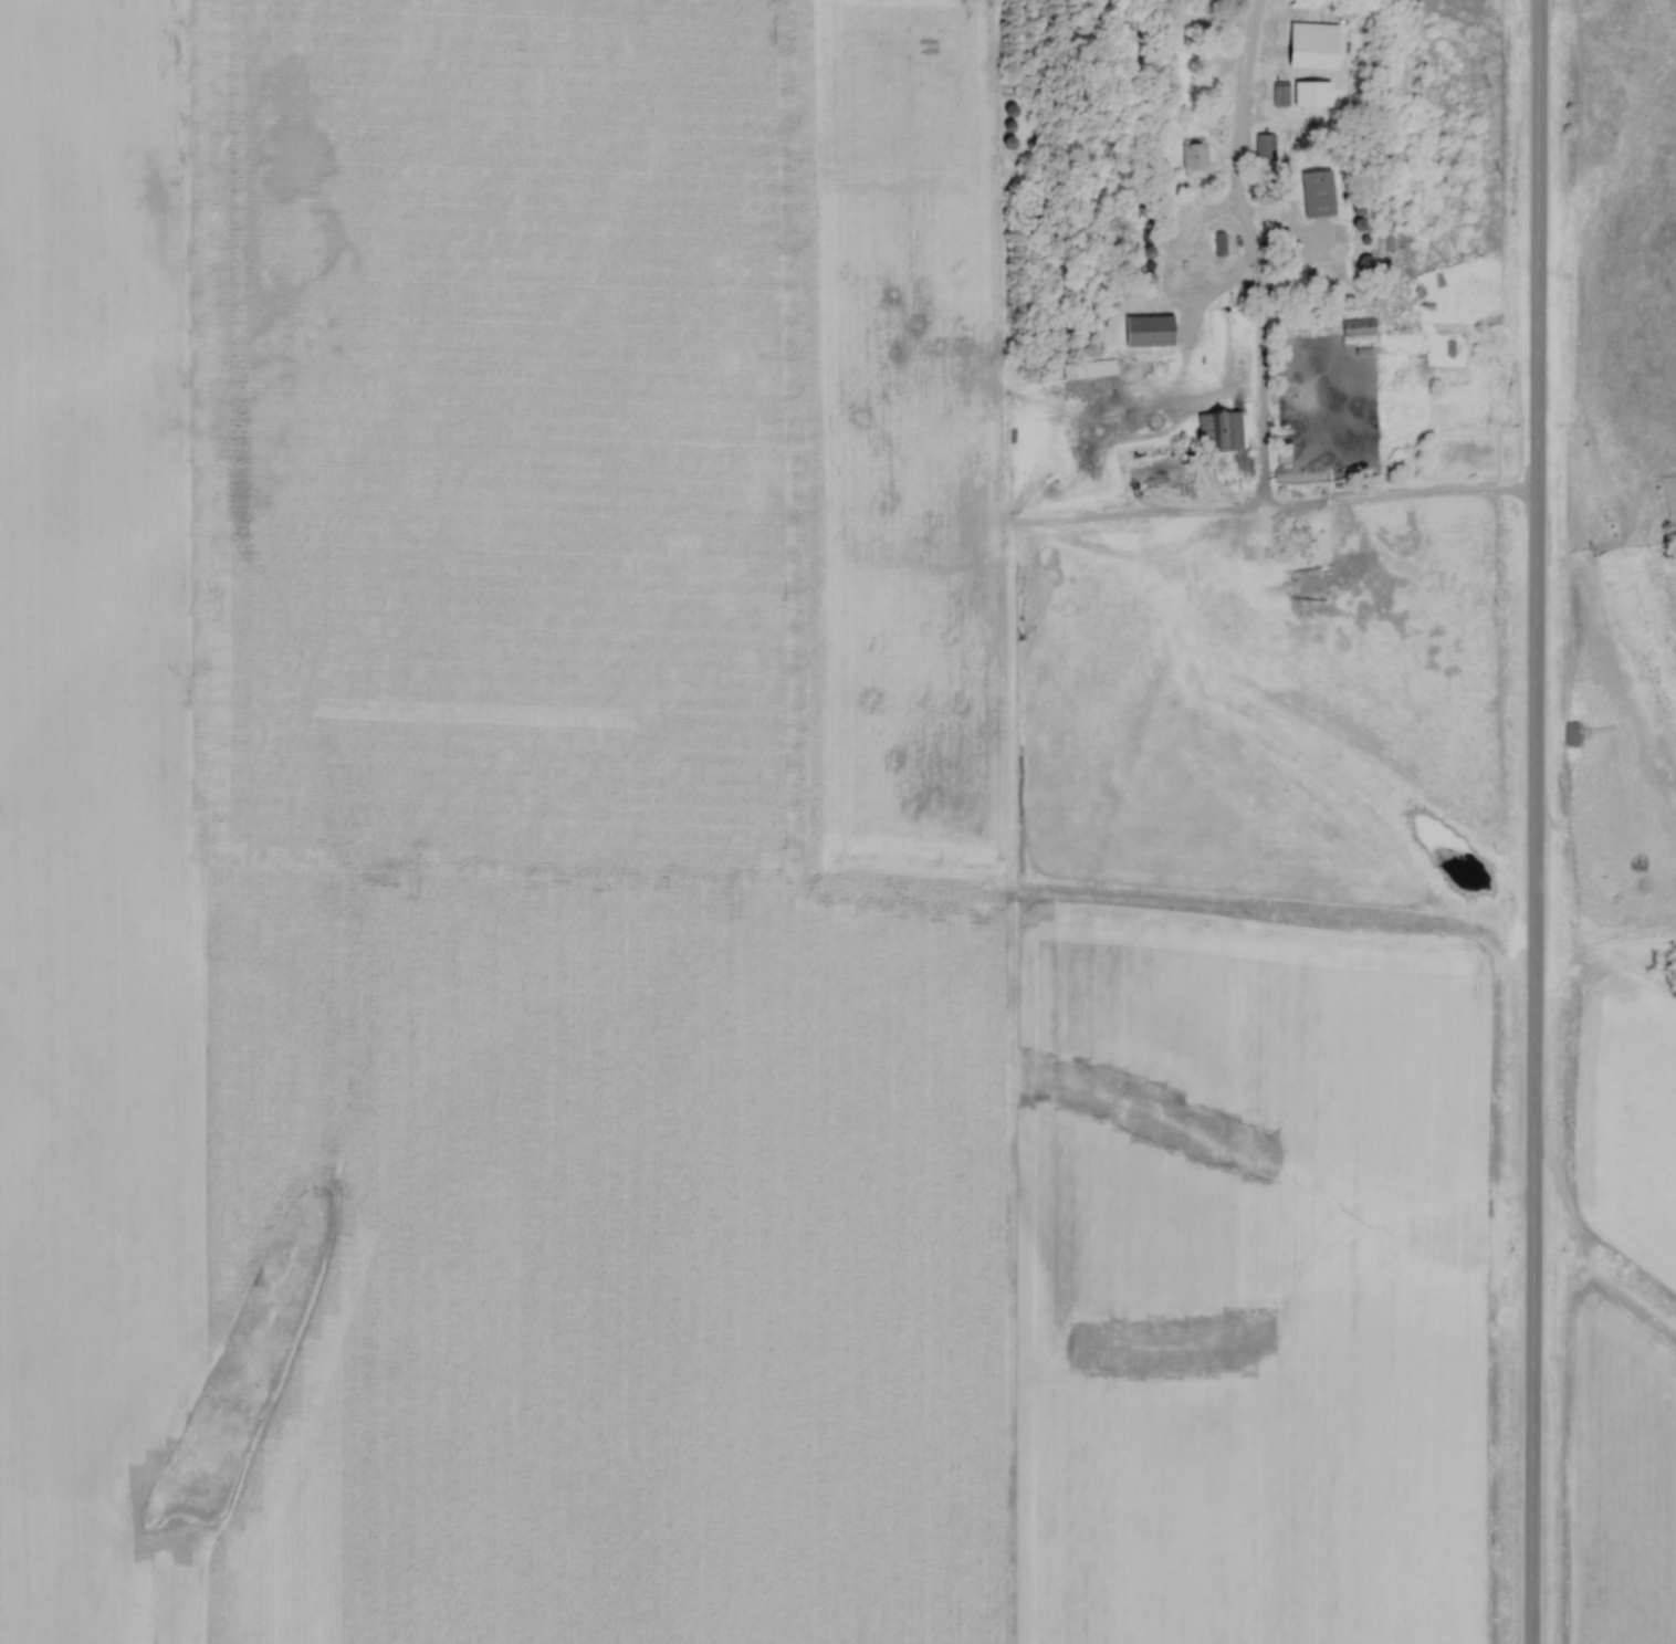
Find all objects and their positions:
building: (1279, 93)
building: (1269, 145)
building: (1194, 157)
building: (1316, 191)
building: (1356, 326)
building: (1144, 329)
building: (1093, 368)
road: (1264, 389)
building: (1224, 430)
building: (1281, 452)
building: (1570, 732)
road: (1534, 821)

